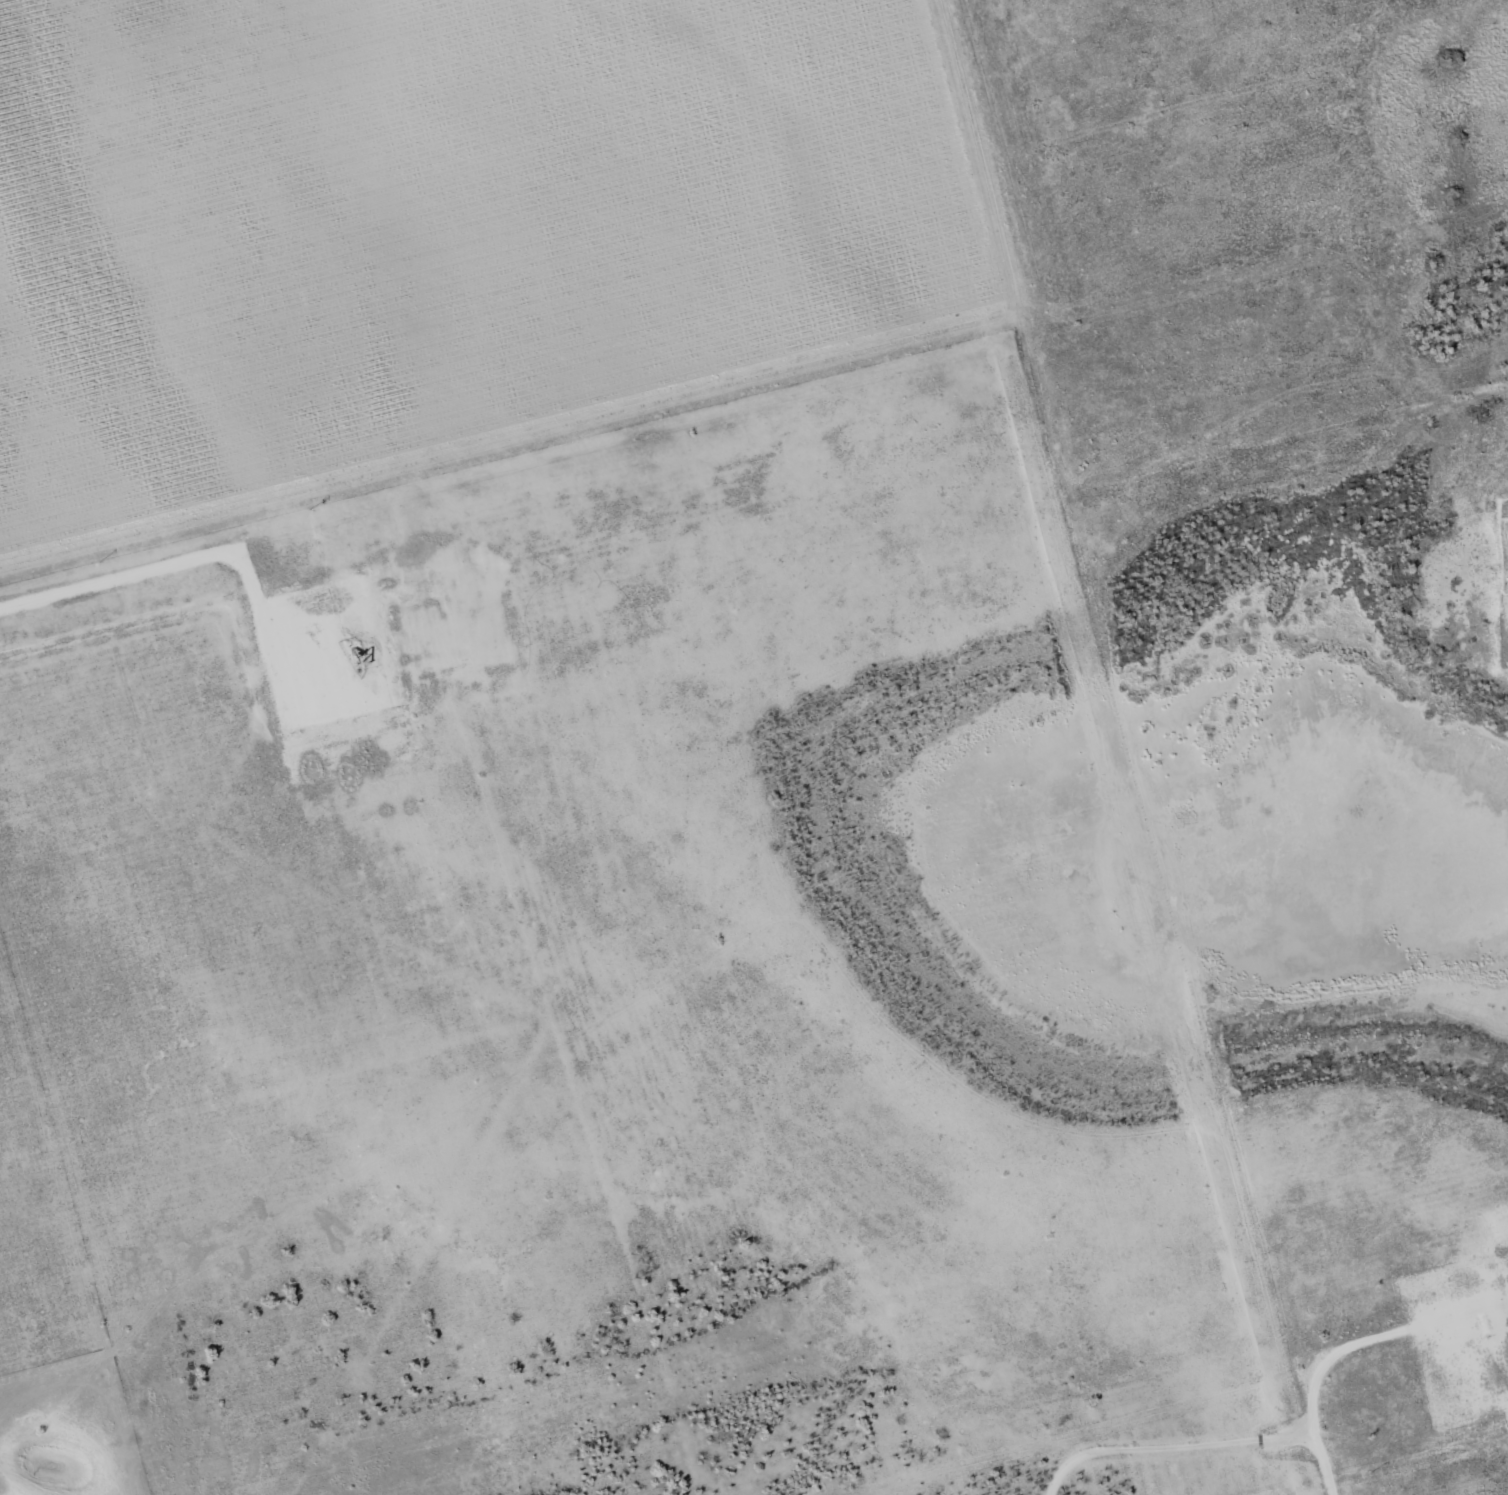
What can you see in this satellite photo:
river: (765, 707)

